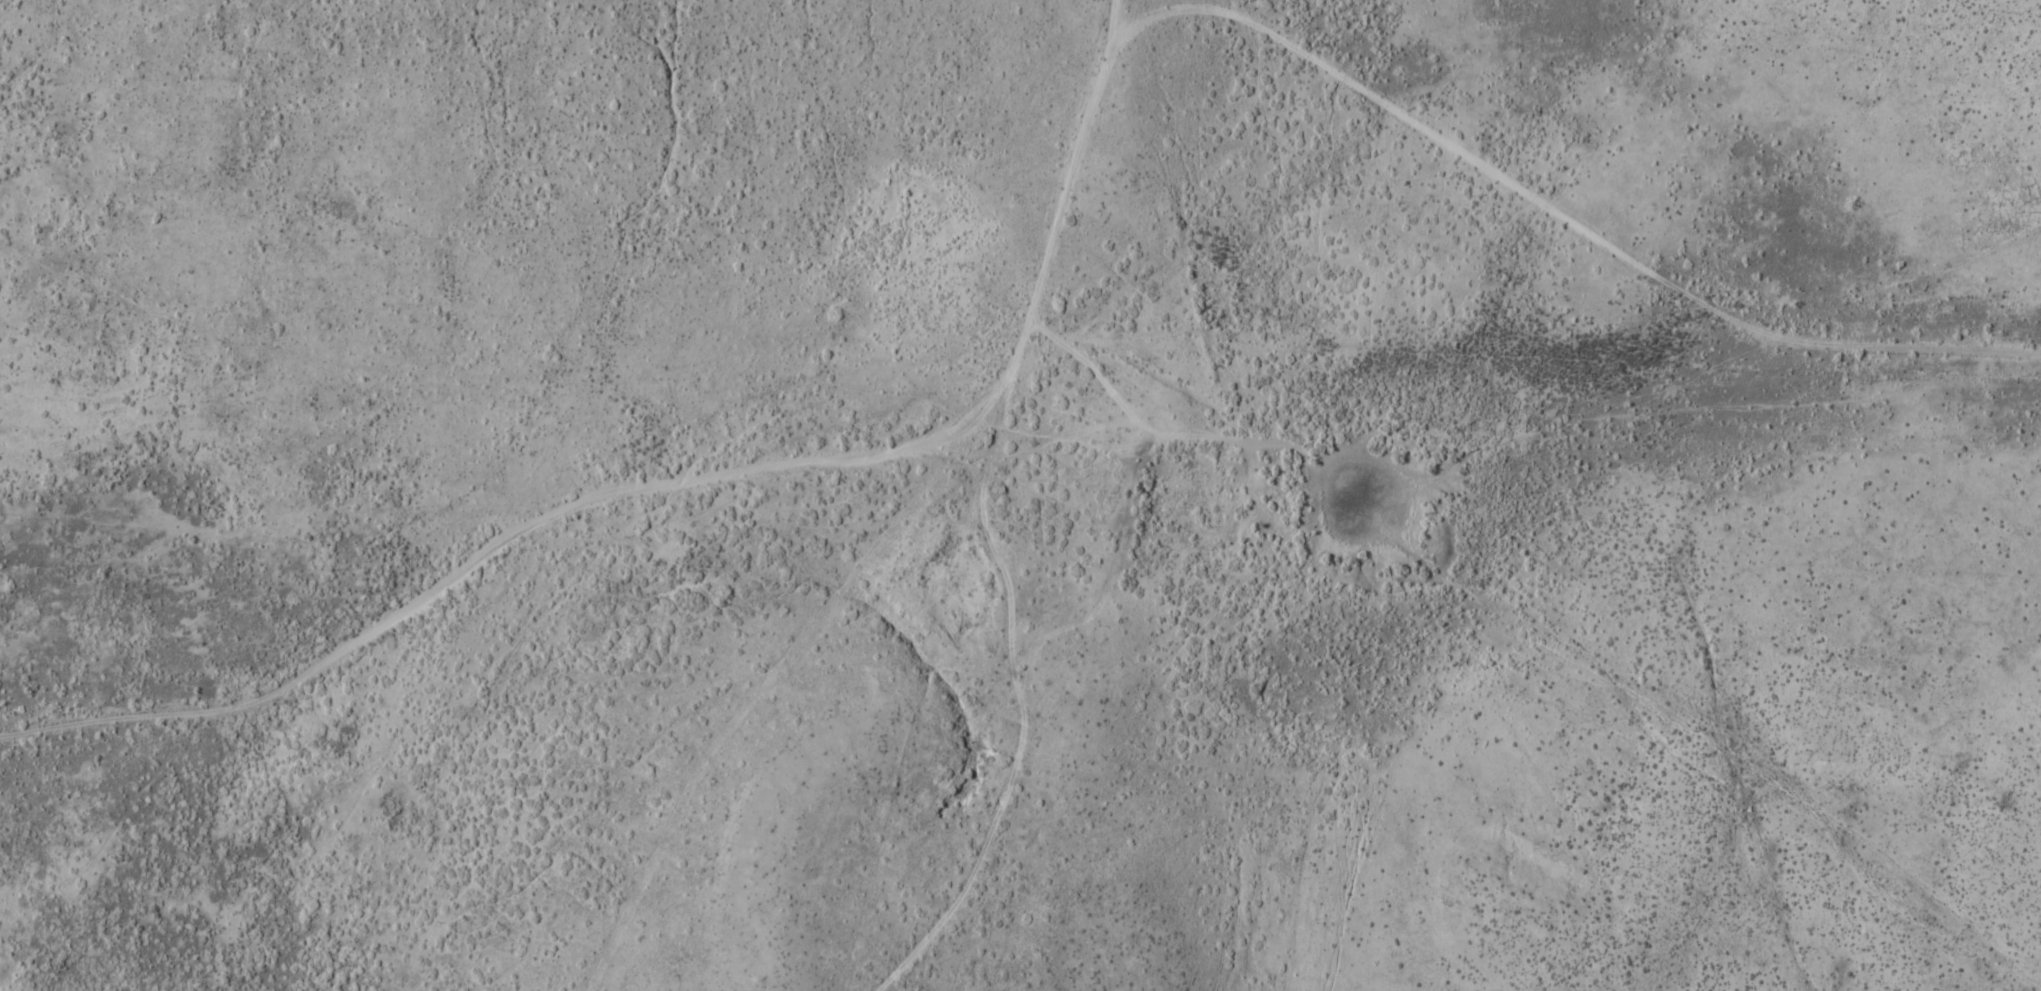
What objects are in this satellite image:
road: (1551, 204)
road: (1092, 372)
road: (679, 478)
road: (991, 532)
road: (1081, 621)
road: (745, 694)
road: (0, 989)

